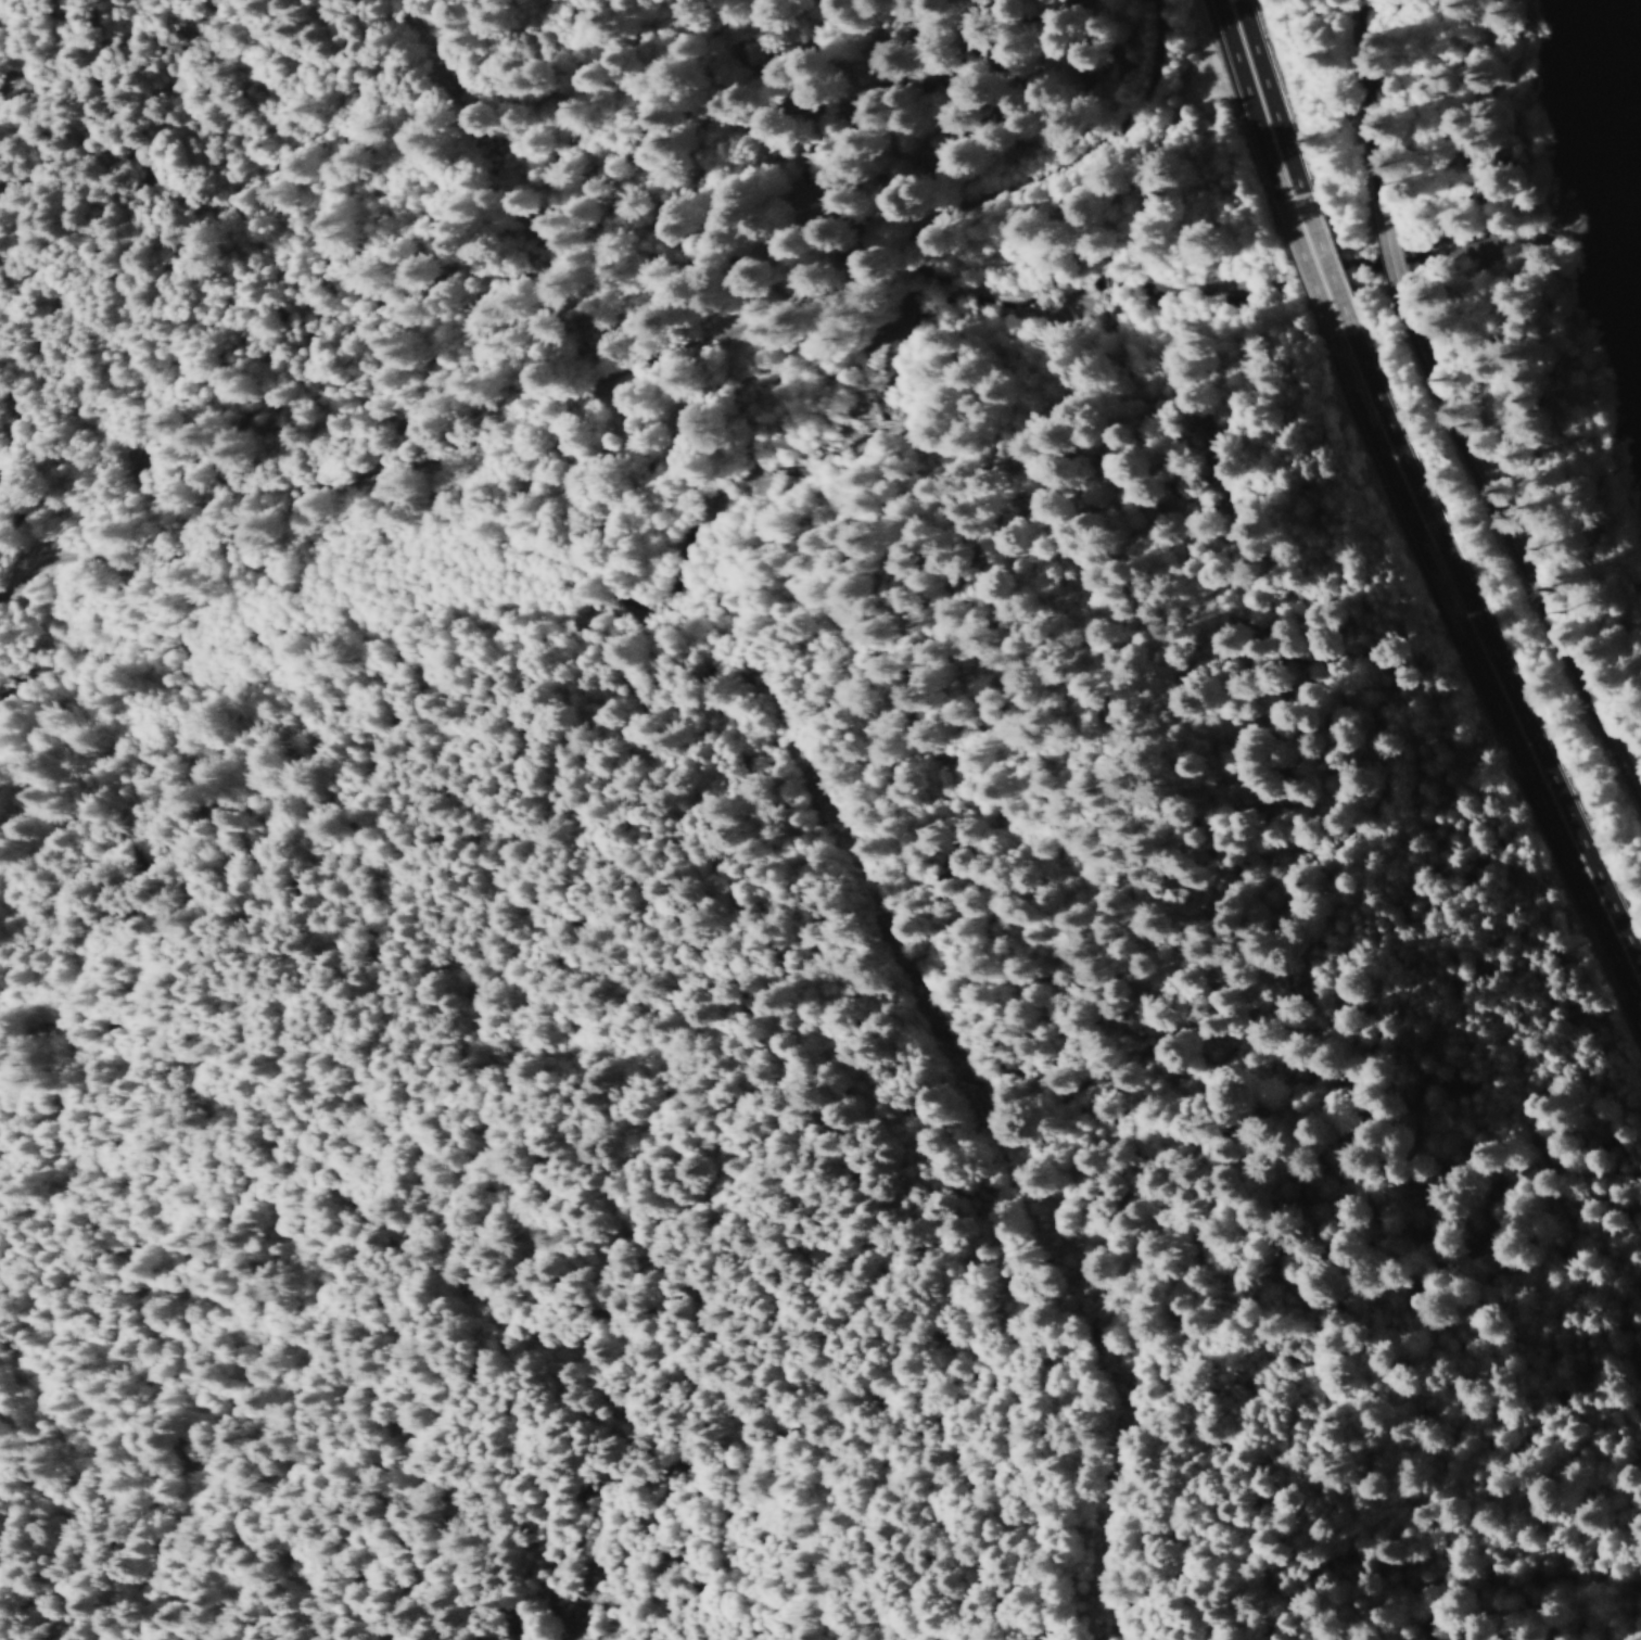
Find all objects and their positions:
road: (1263, 99)
road: (1369, 113)
road: (1322, 269)
road: (1401, 305)
road: (632, 368)
road: (1428, 543)
road: (1534, 598)
park: (1026, 776)
road: (1576, 867)
road: (1035, 1606)
road: (1090, 1606)

